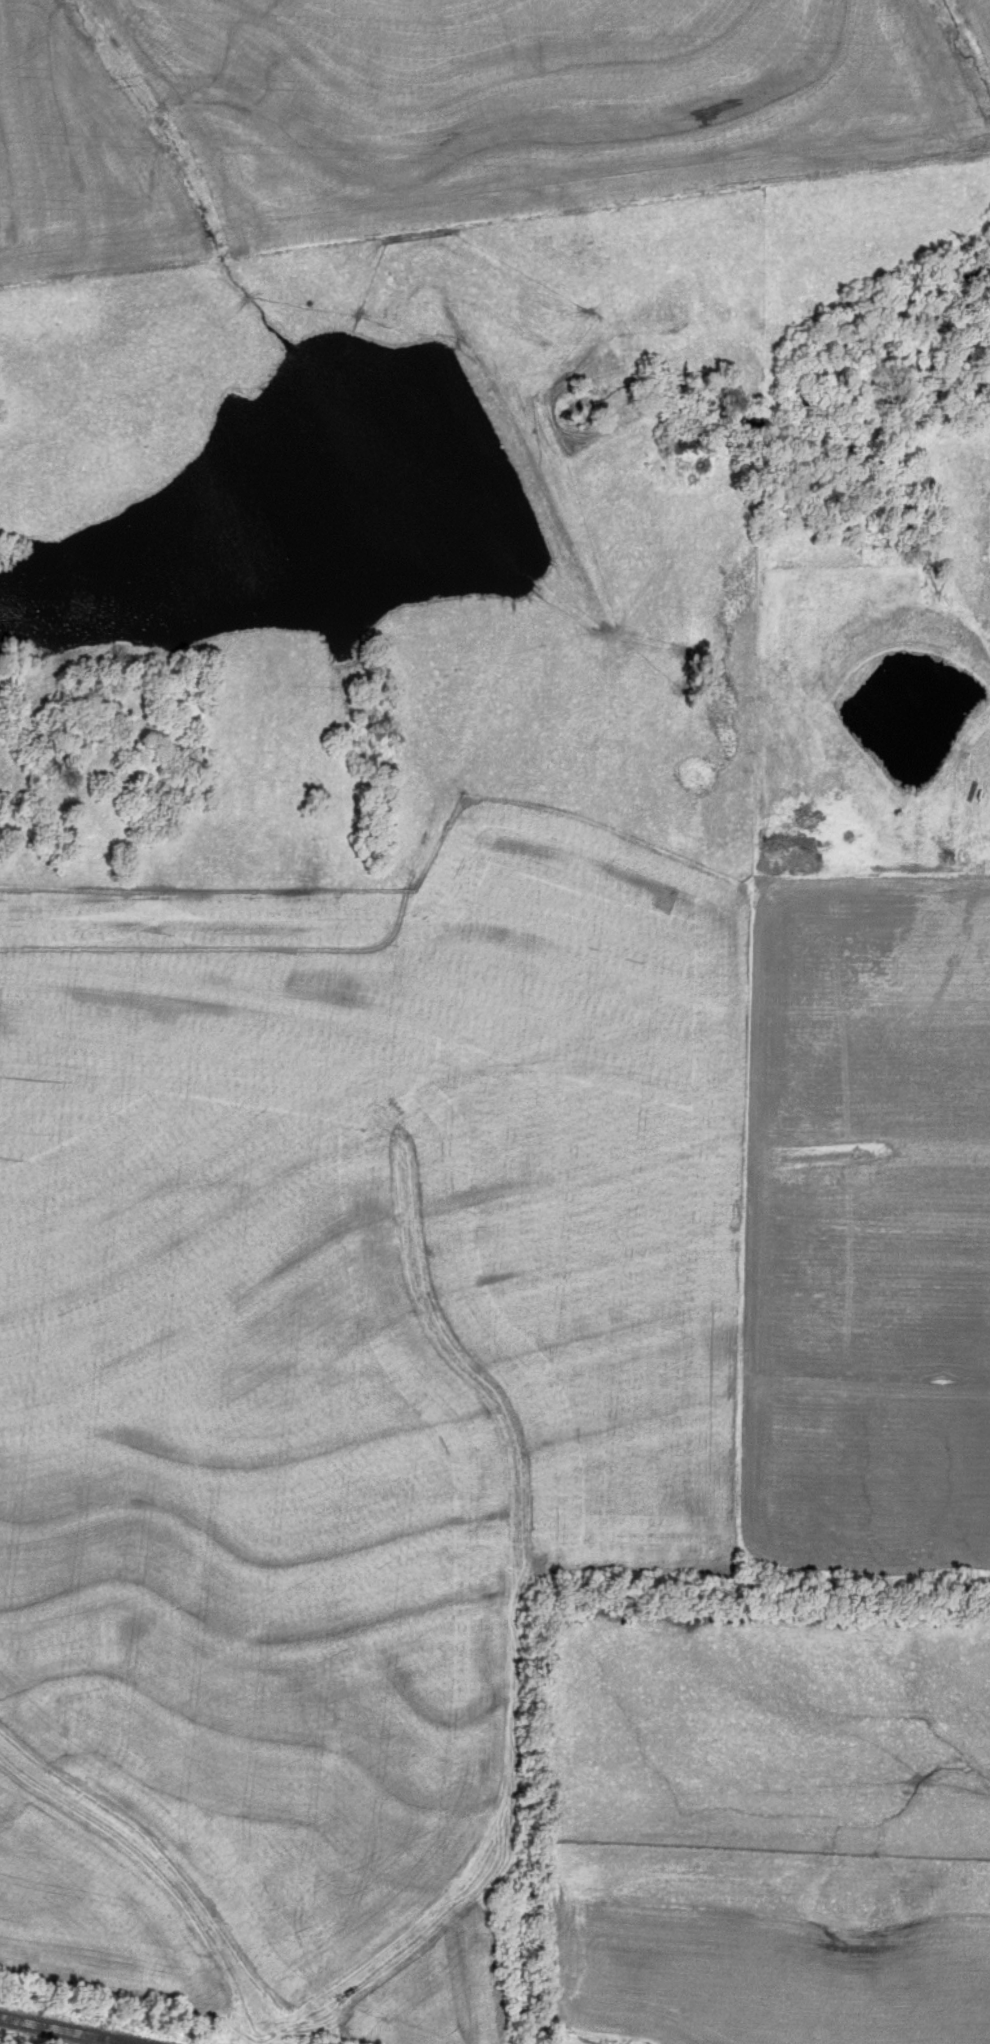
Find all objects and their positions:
railway: (50, 2033)

